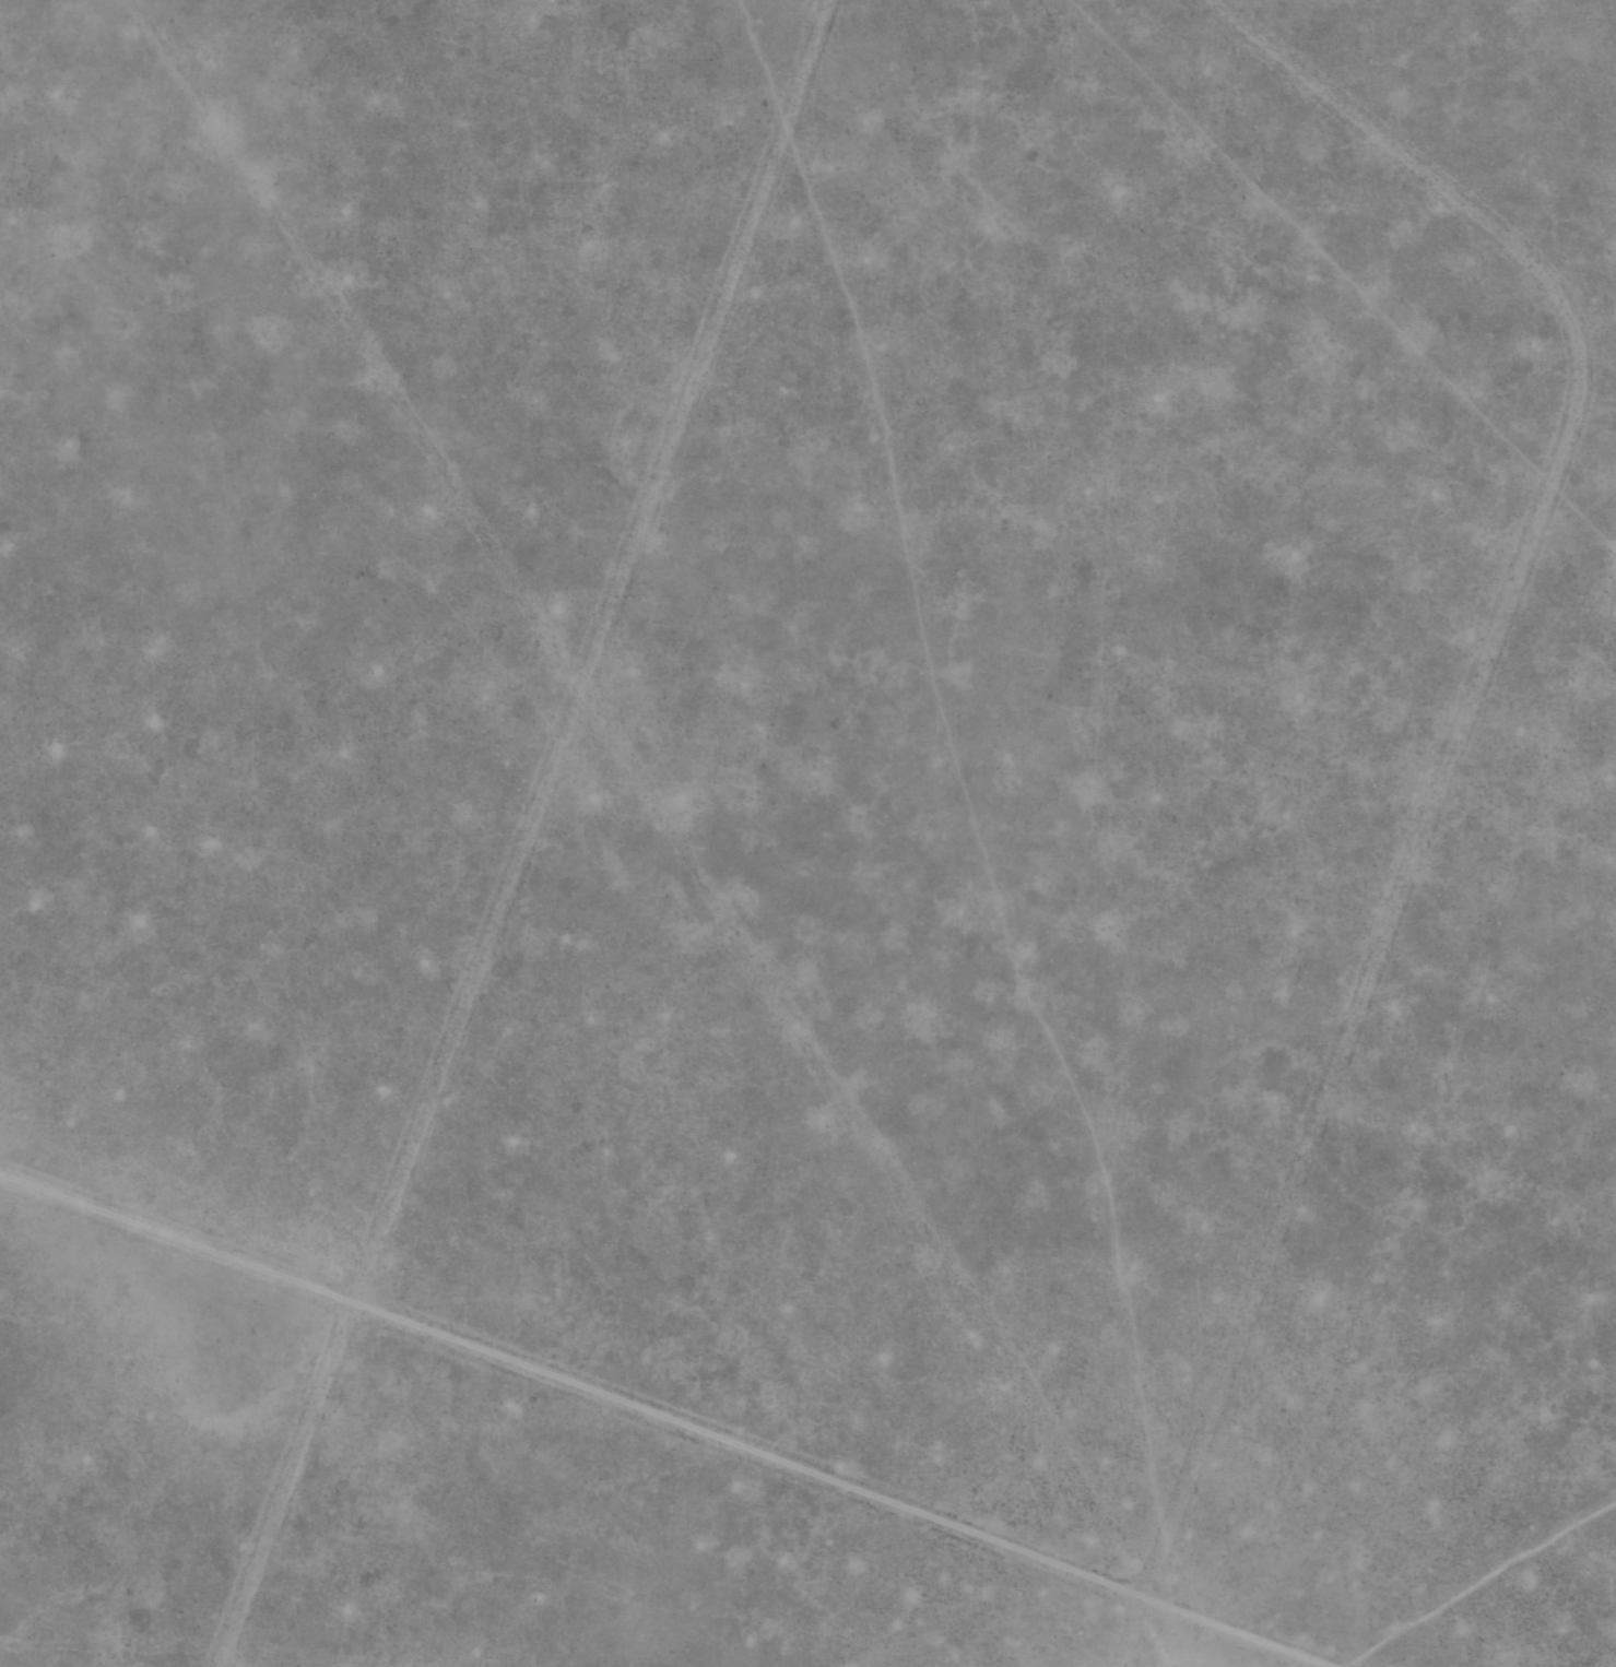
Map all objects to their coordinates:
road: (664, 1417)

